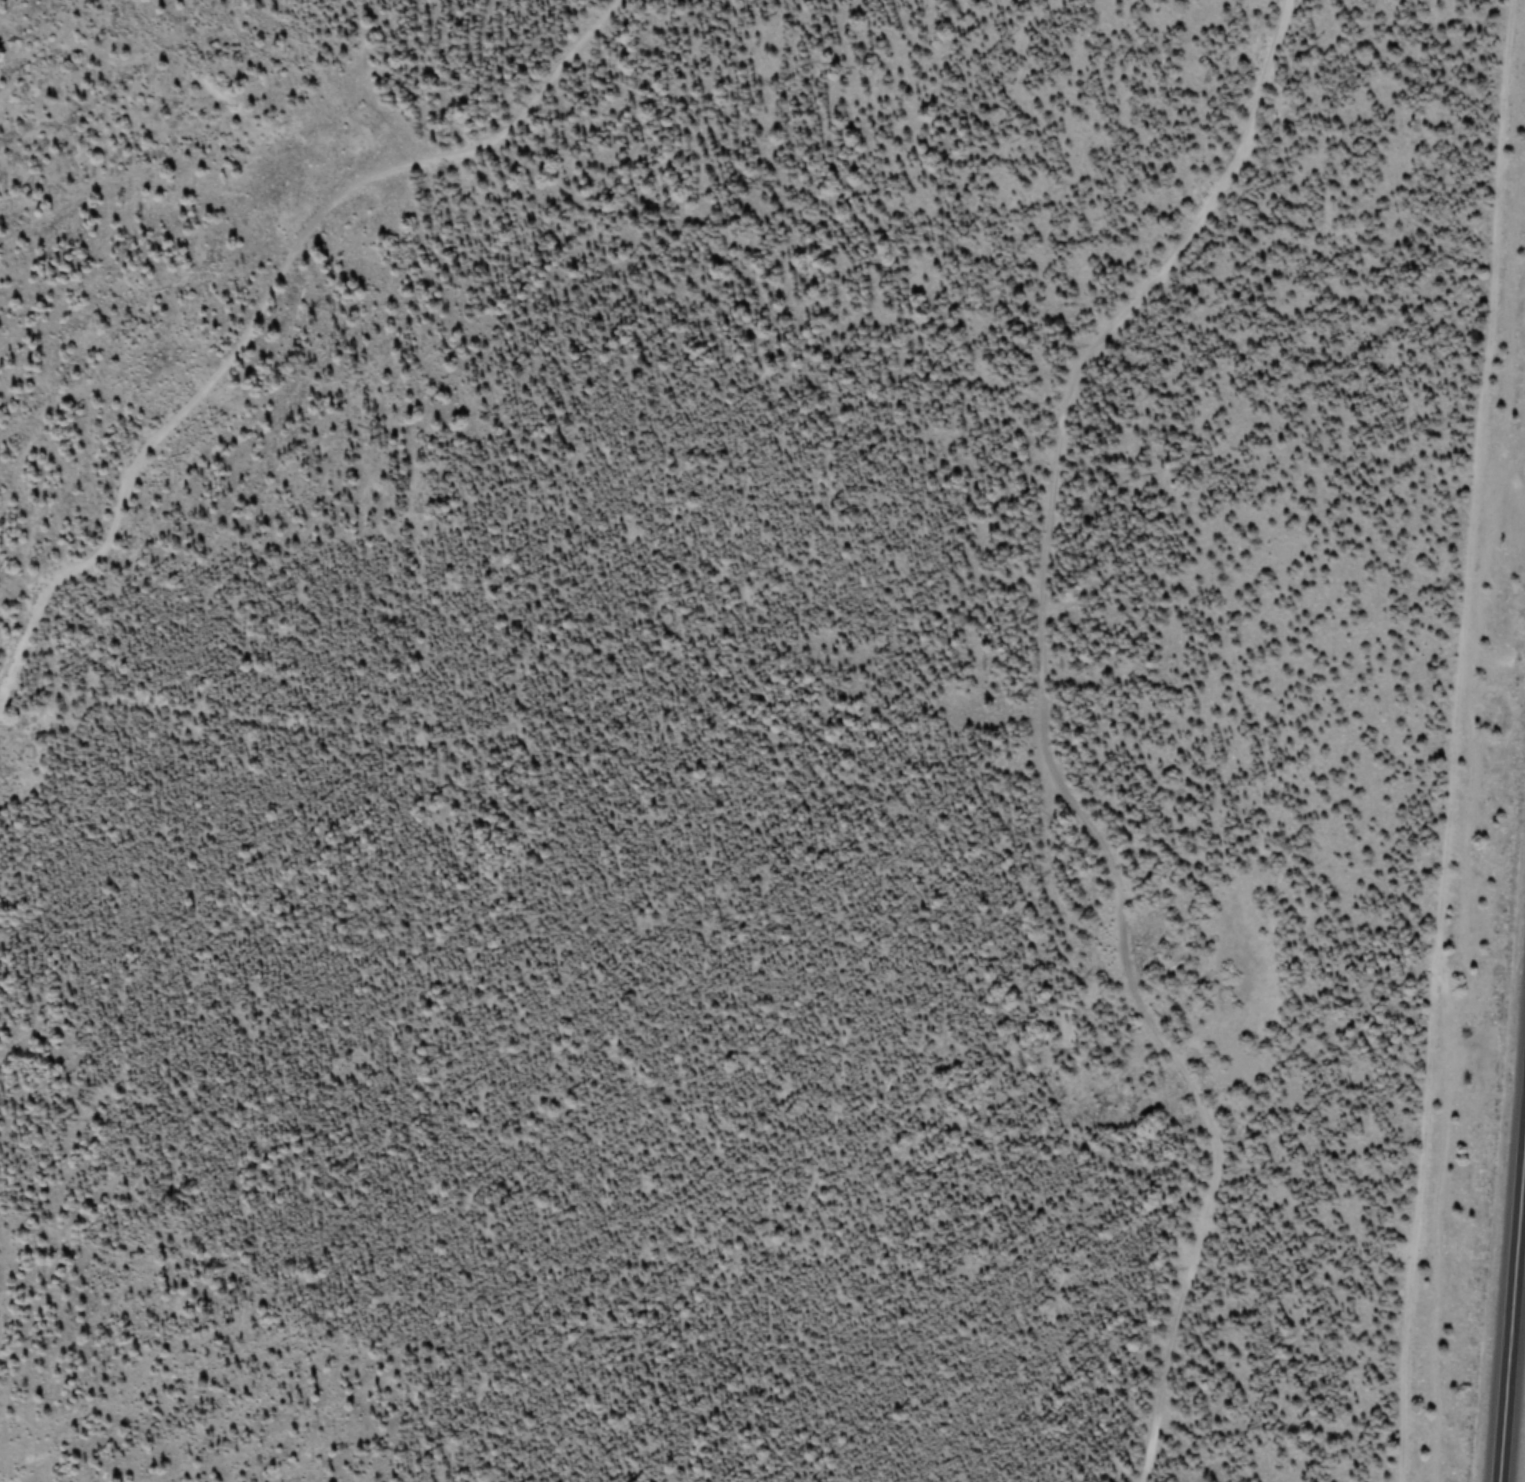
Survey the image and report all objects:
road: (1511, 1314)

